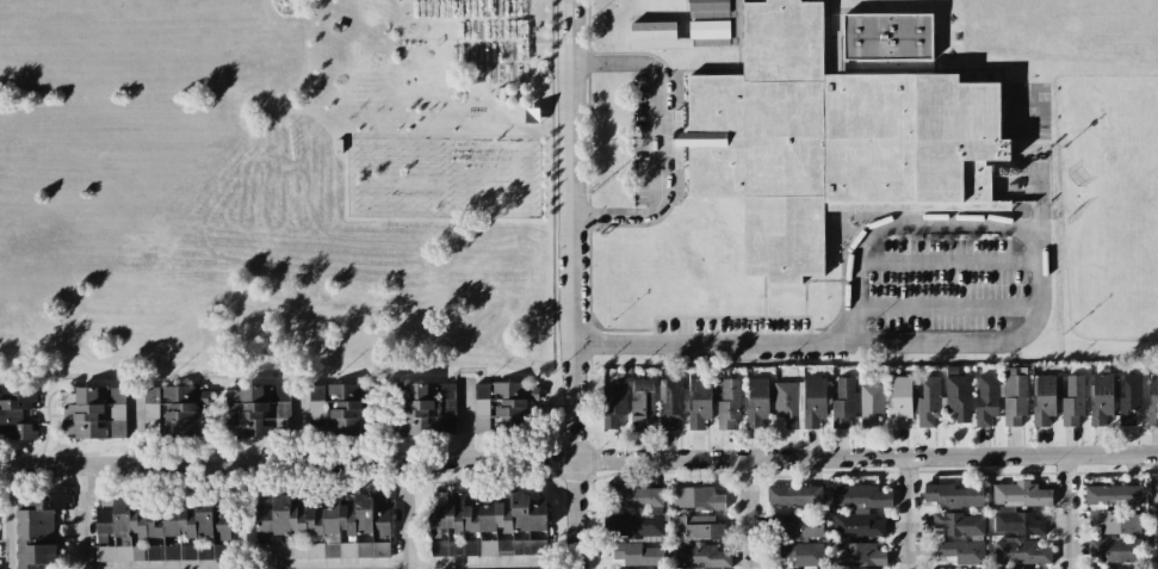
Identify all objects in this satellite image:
building: (708, 8)
building: (652, 30)
building: (887, 36)
road: (658, 138)
building: (830, 140)
road: (572, 187)
crop: (271, 188)
road: (946, 260)
road: (946, 305)
road: (995, 341)
building: (958, 397)
building: (1014, 397)
building: (1102, 397)
building: (1044, 398)
building: (1131, 398)
building: (899, 400)
building: (986, 400)
building: (1153, 400)
building: (815, 401)
building: (1072, 401)
building: (316, 402)
building: (614, 402)
building: (756, 402)
building: (844, 402)
building: (929, 402)
building: (642, 403)
building: (670, 403)
building: (699, 403)
building: (729, 403)
building: (786, 403)
building: (871, 403)
building: (502, 404)
building: (256, 408)
building: (346, 409)
building: (184, 410)
building: (426, 410)
building: (93, 412)
building: (17, 414)
road: (867, 457)
road: (289, 464)
road: (577, 472)
building: (1153, 488)
building: (1021, 494)
building: (794, 495)
building: (1111, 495)
building: (953, 496)
building: (634, 497)
building: (696, 497)
building: (266, 501)
building: (860, 509)
road: (1070, 512)
road: (750, 513)
road: (911, 513)
building: (485, 514)
road: (404, 515)
road: (8, 517)
road: (81, 517)
building: (165, 519)
building: (1156, 520)
building: (1116, 521)
building: (1017, 522)
building: (959, 524)
building: (795, 526)
building: (327, 527)
building: (696, 527)
building: (37, 530)
building: (488, 548)
building: (1115, 550)
building: (1157, 550)
building: (964, 551)
building: (1020, 551)
building: (162, 552)
building: (803, 552)
building: (637, 553)
building: (859, 553)
building: (700, 555)
road: (369, 567)
building: (840, 567)
building: (1095, 568)
building: (1156, 568)

